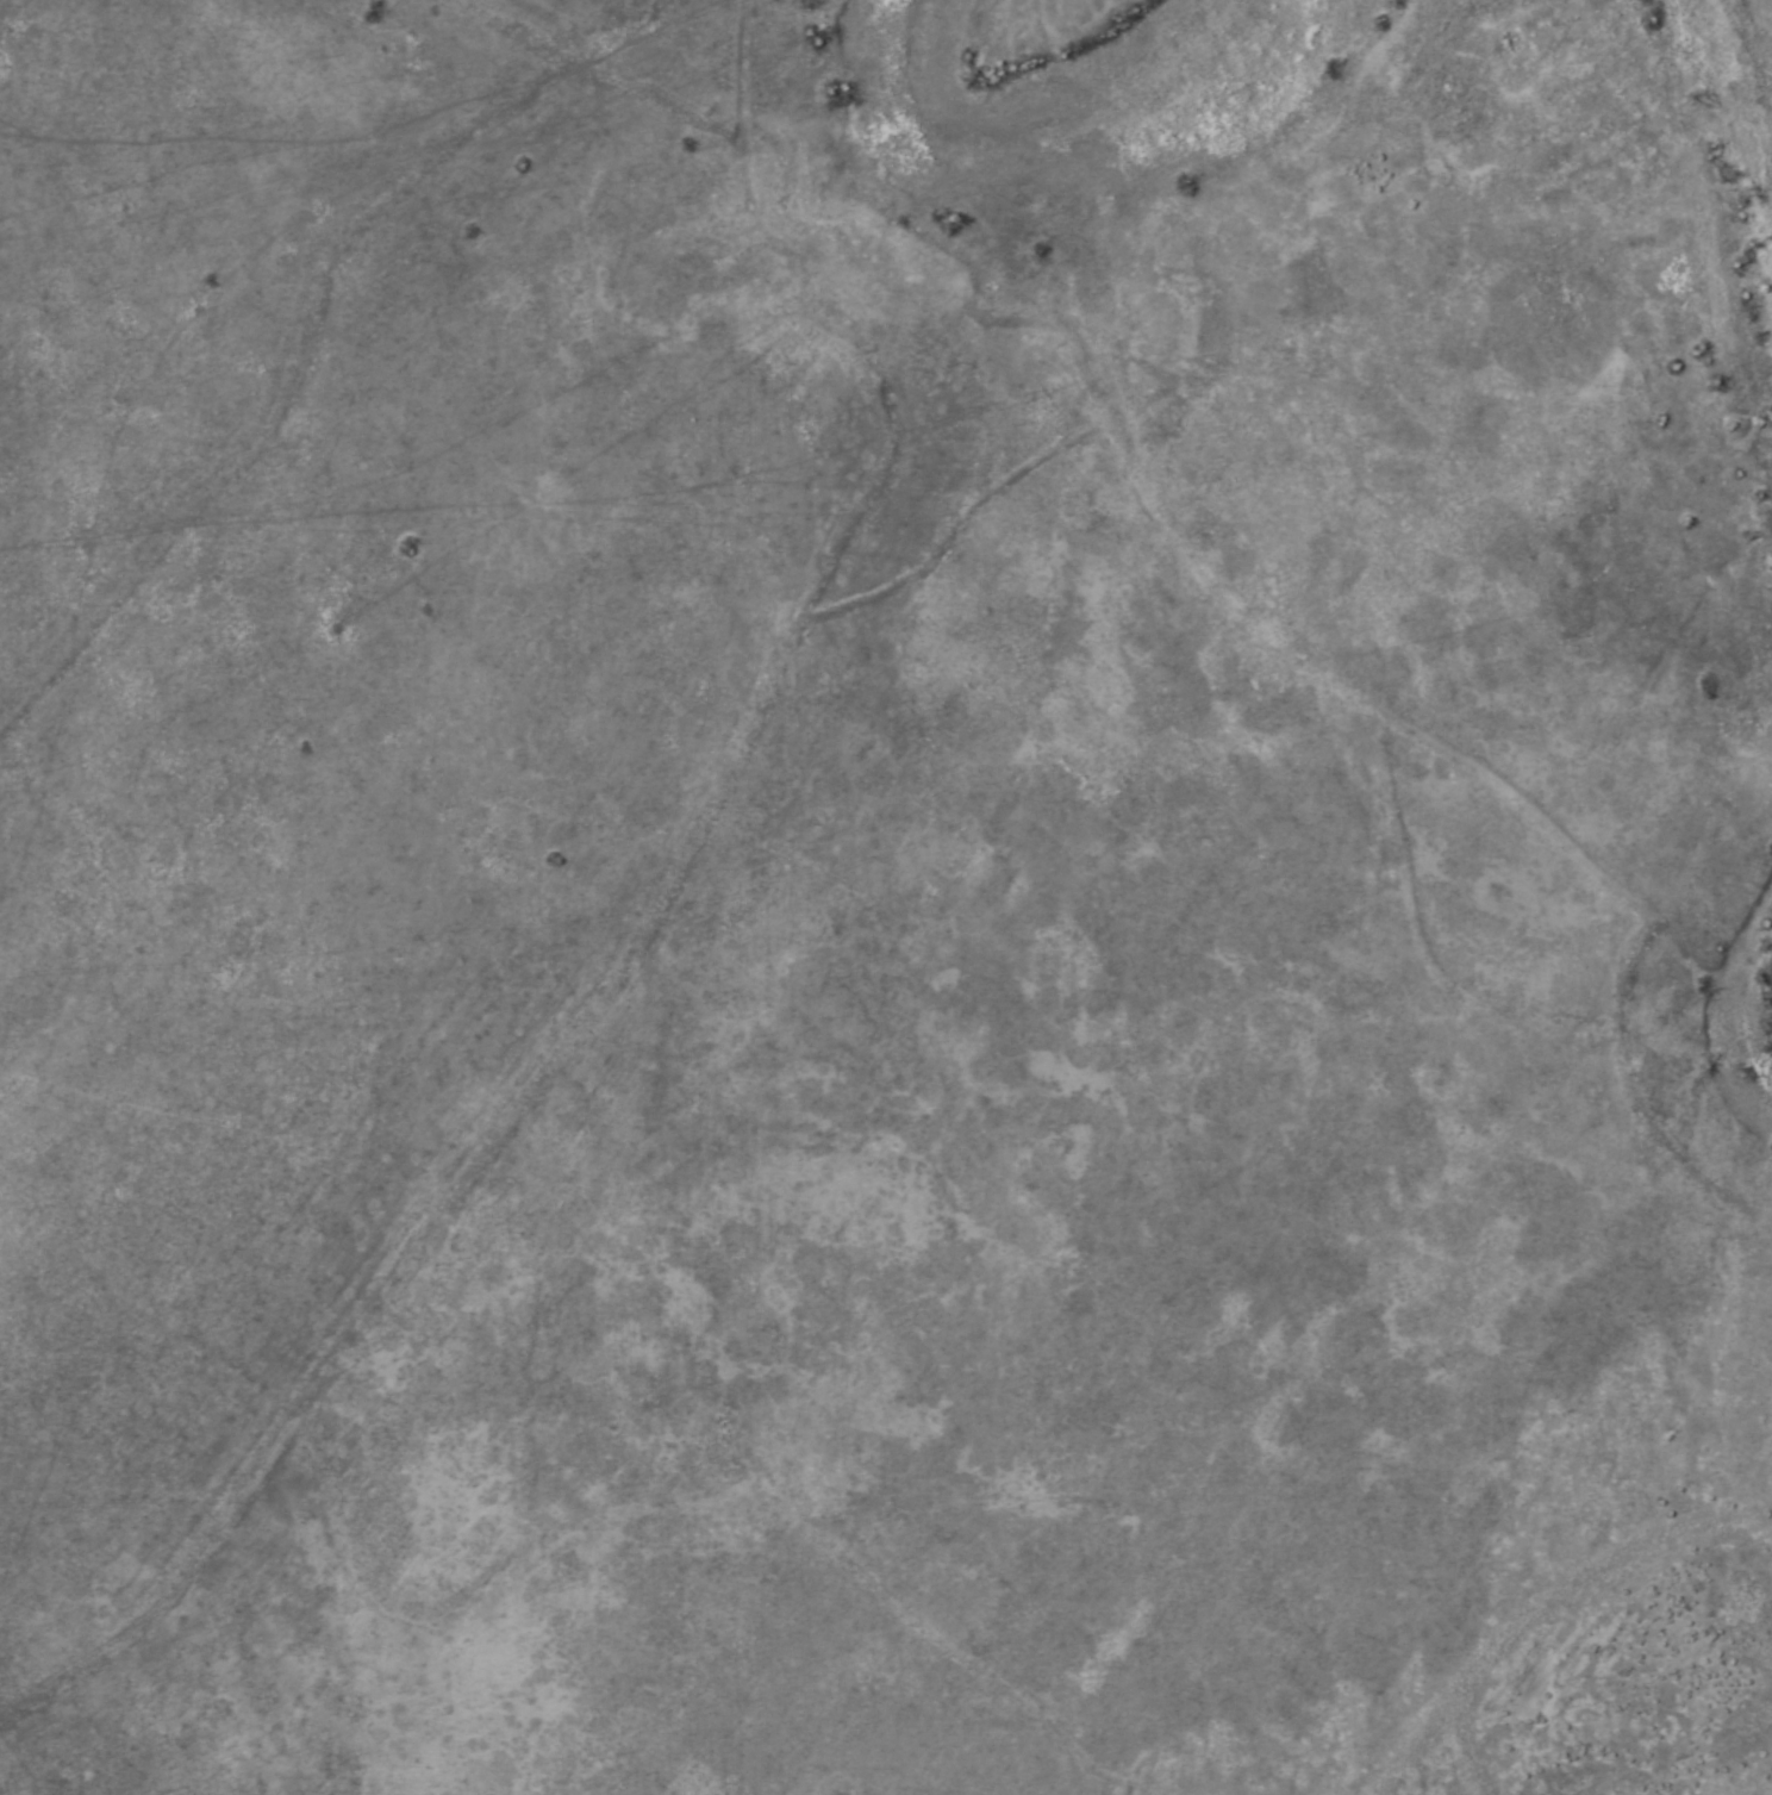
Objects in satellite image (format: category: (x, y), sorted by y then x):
road: (1641, 1675)

